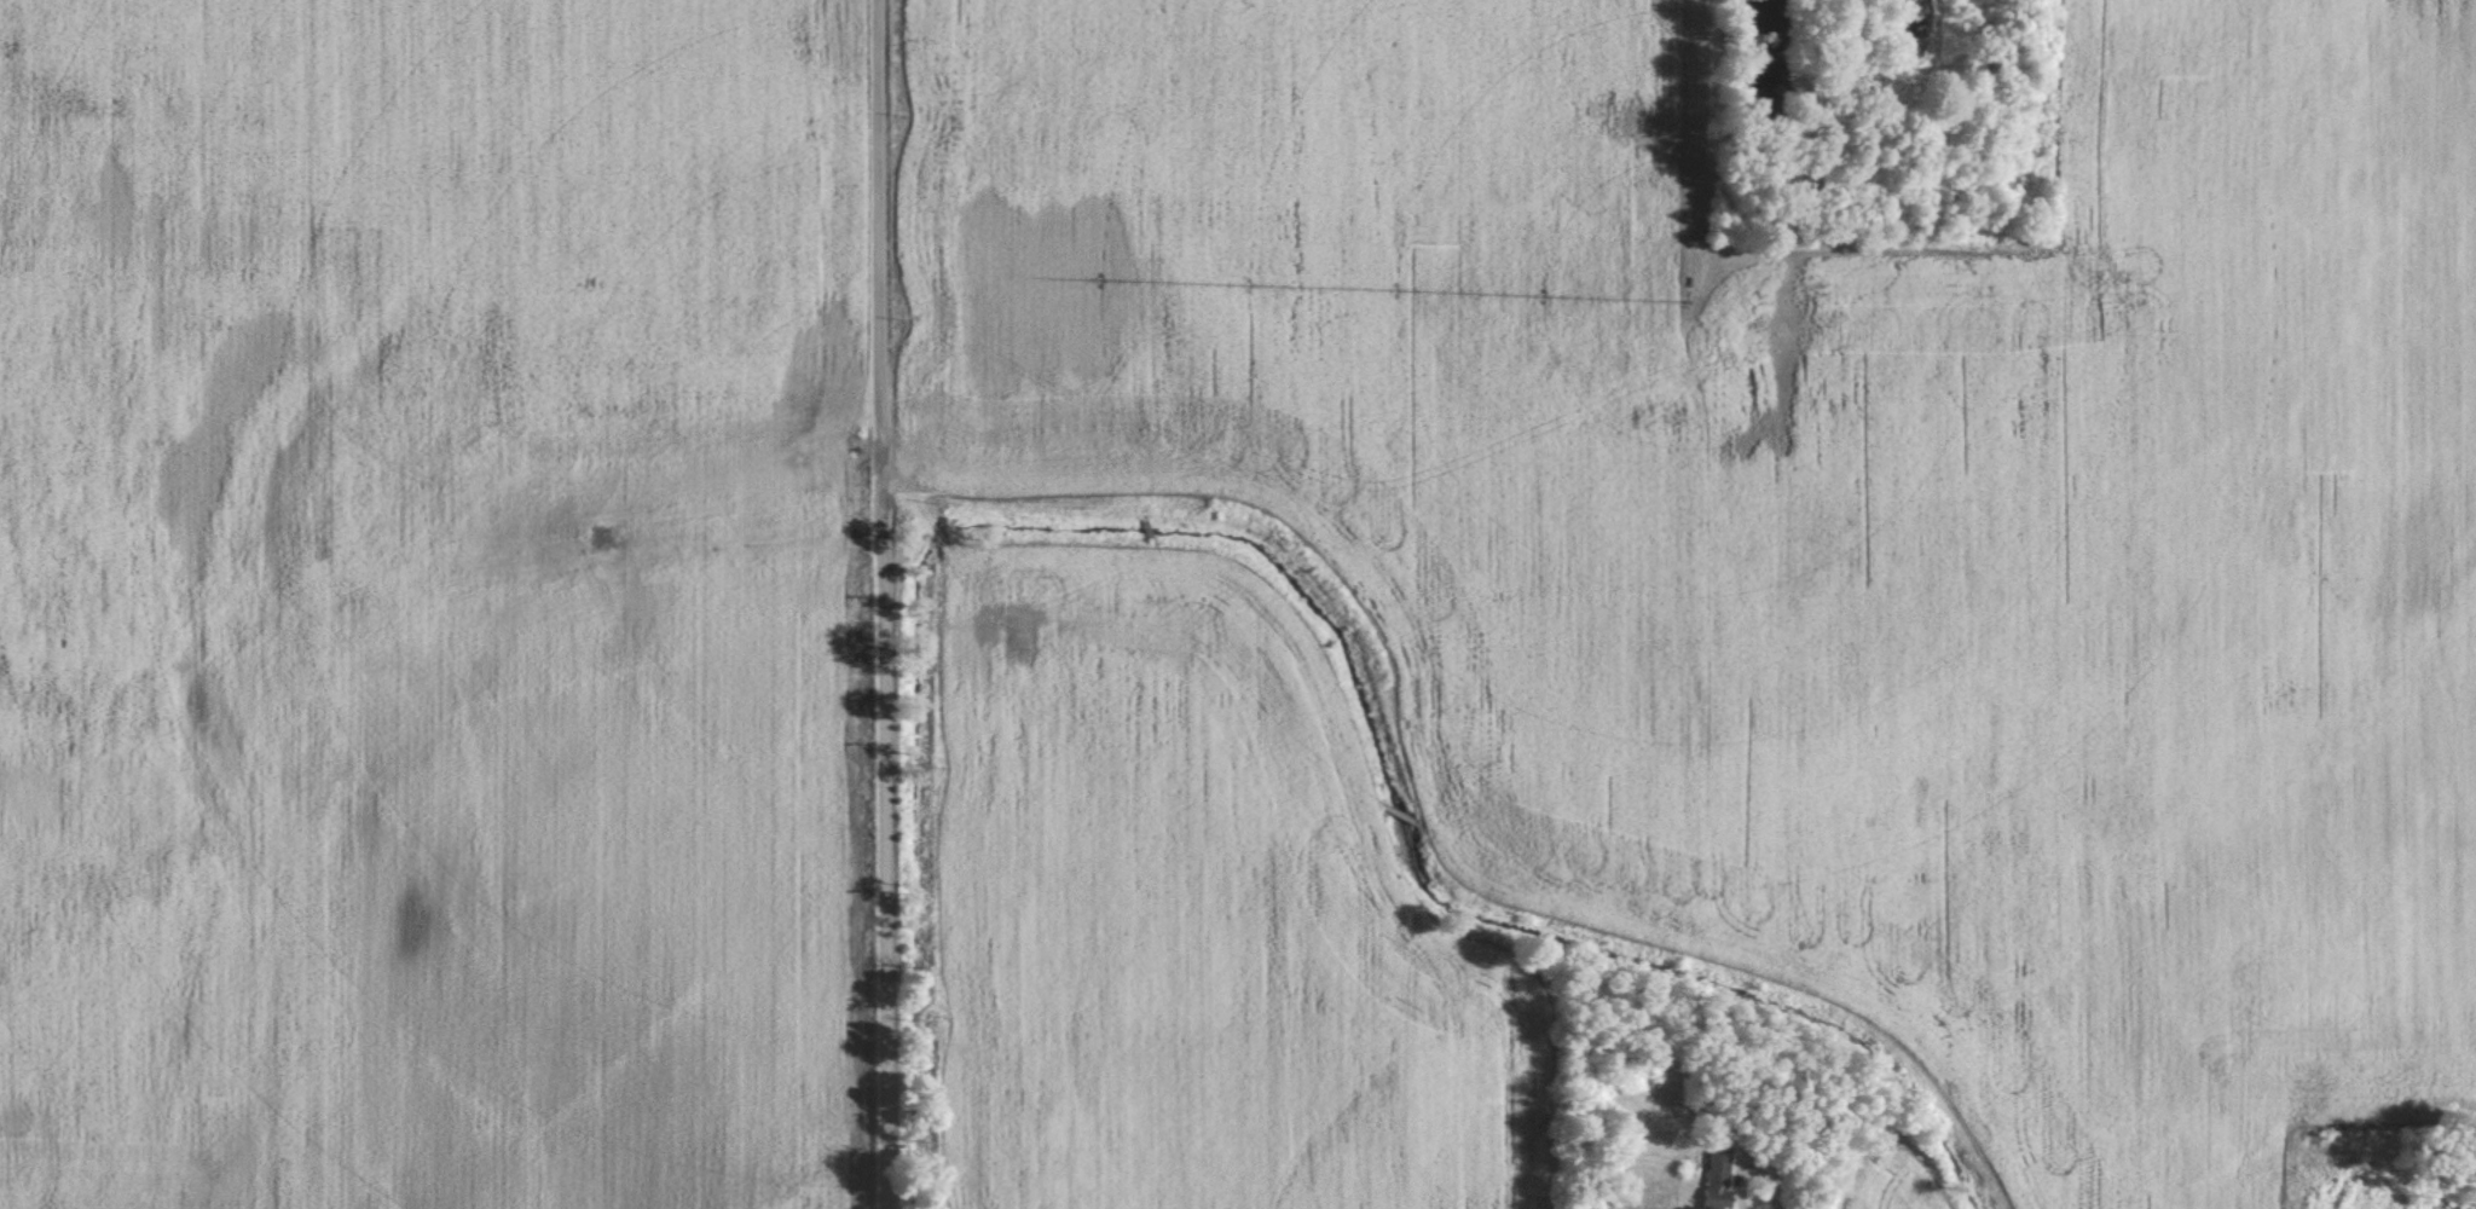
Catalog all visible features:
road: (897, 603)
building: (1713, 1178)
road: (1759, 1198)

